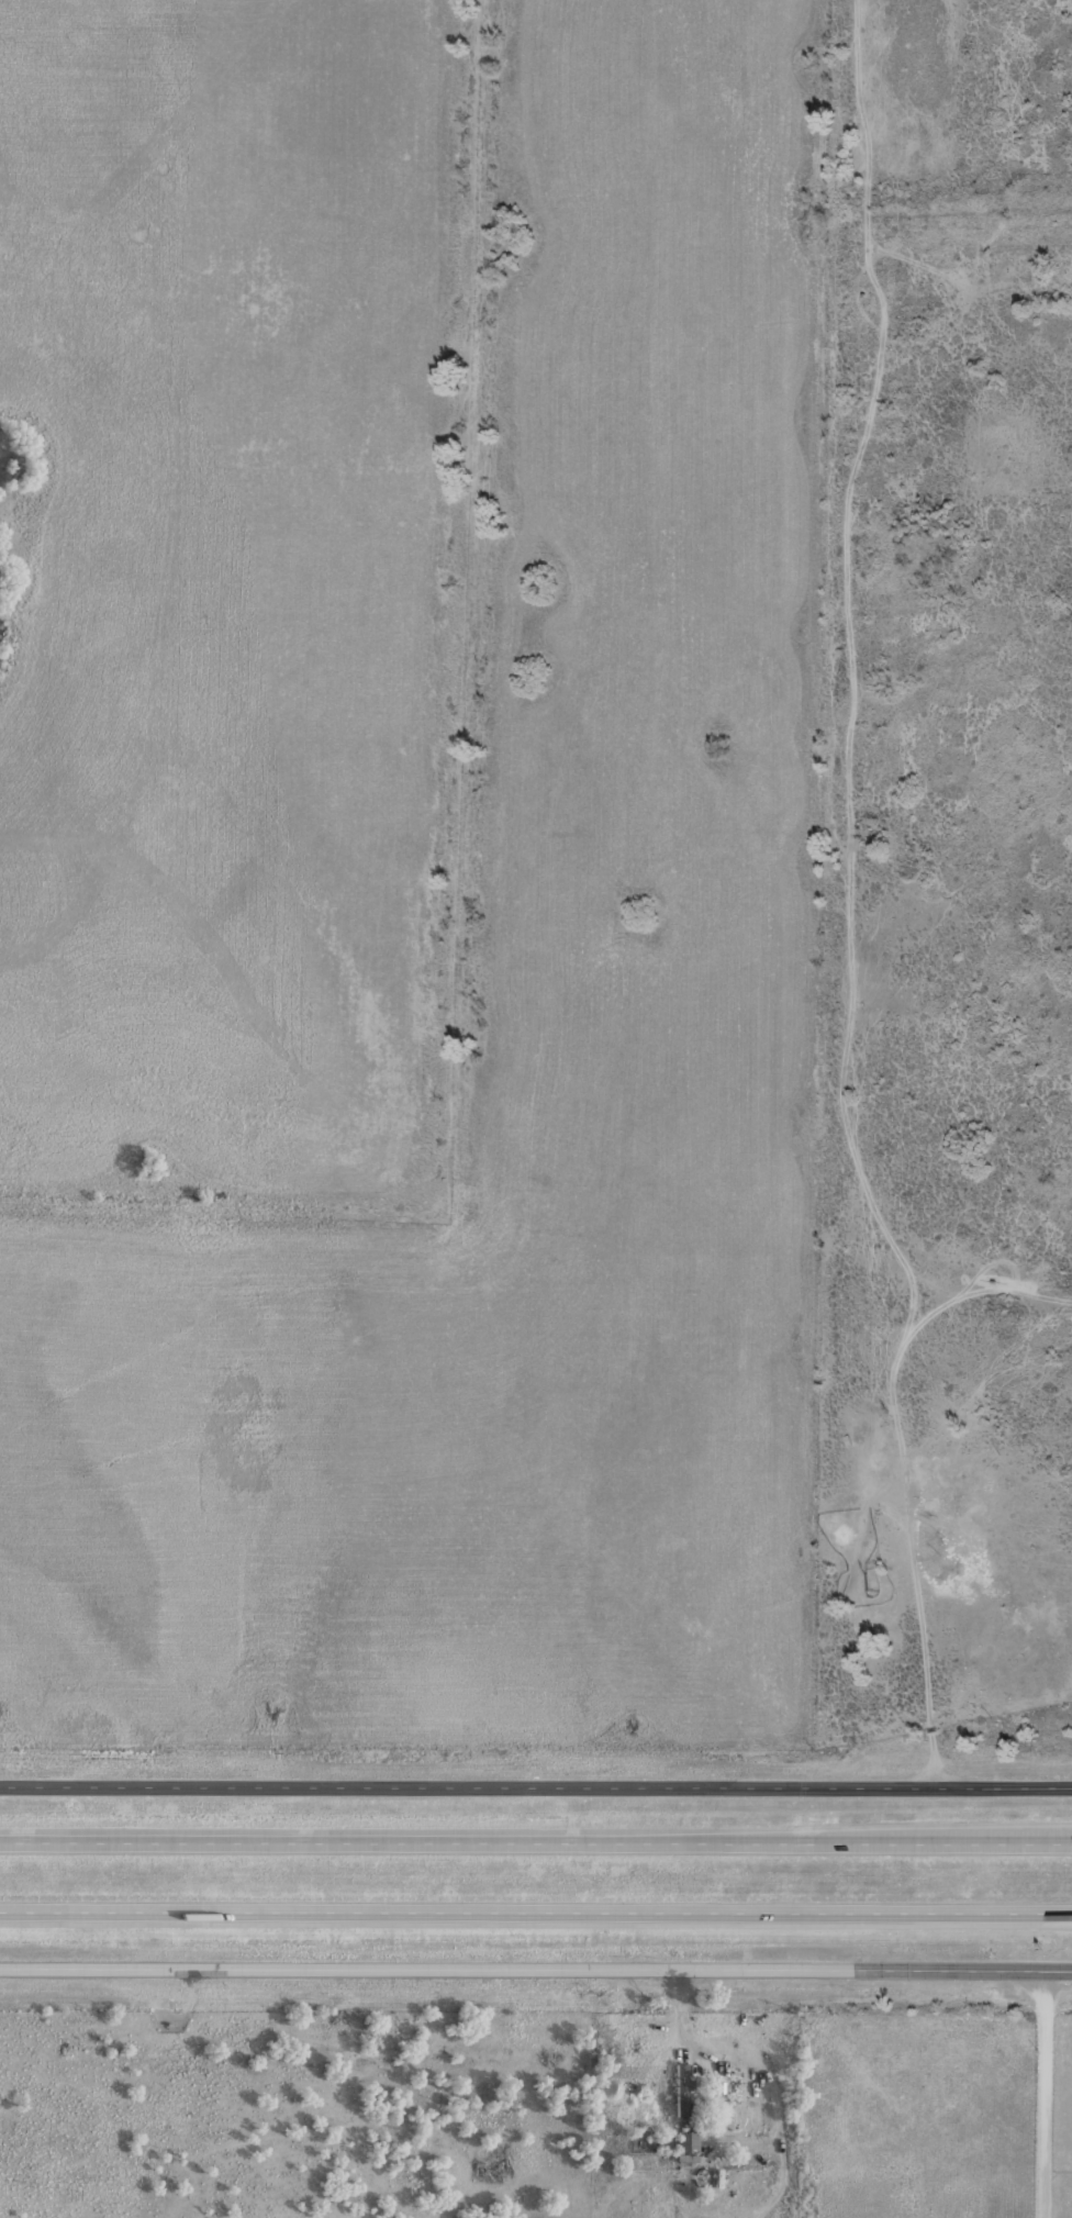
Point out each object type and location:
road: (536, 1784)
road: (536, 1839)
road: (536, 1909)
road: (535, 1968)
building: (679, 2088)
road: (1047, 2093)
building: (723, 2102)
building: (682, 2141)

